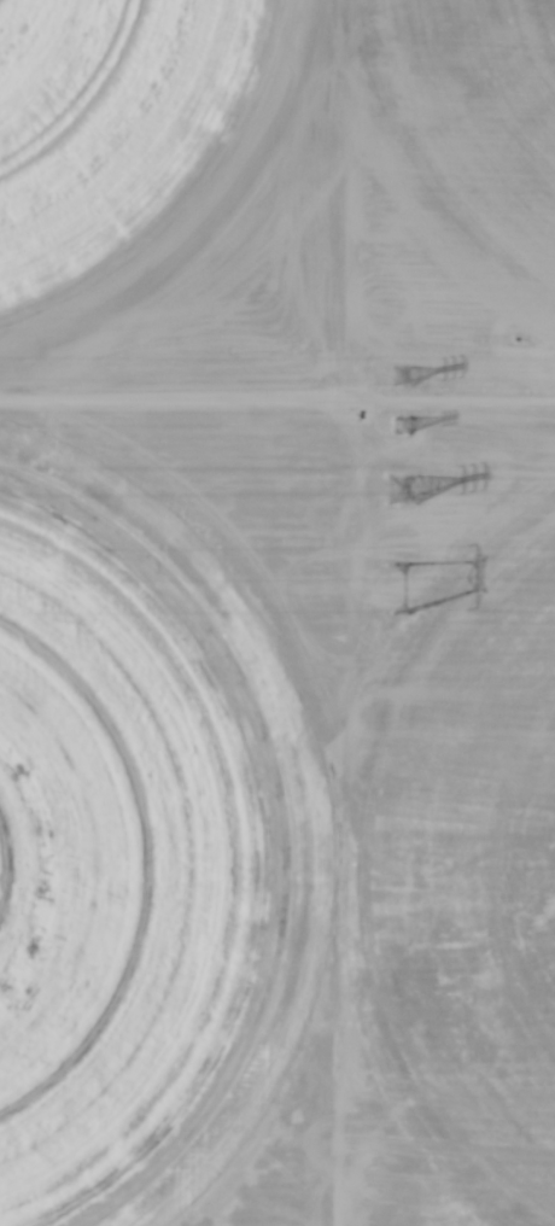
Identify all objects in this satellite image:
power tower: (403, 375)
power tower: (407, 425)
power tower: (413, 494)
power tower: (407, 584)
crop: (277, 613)

